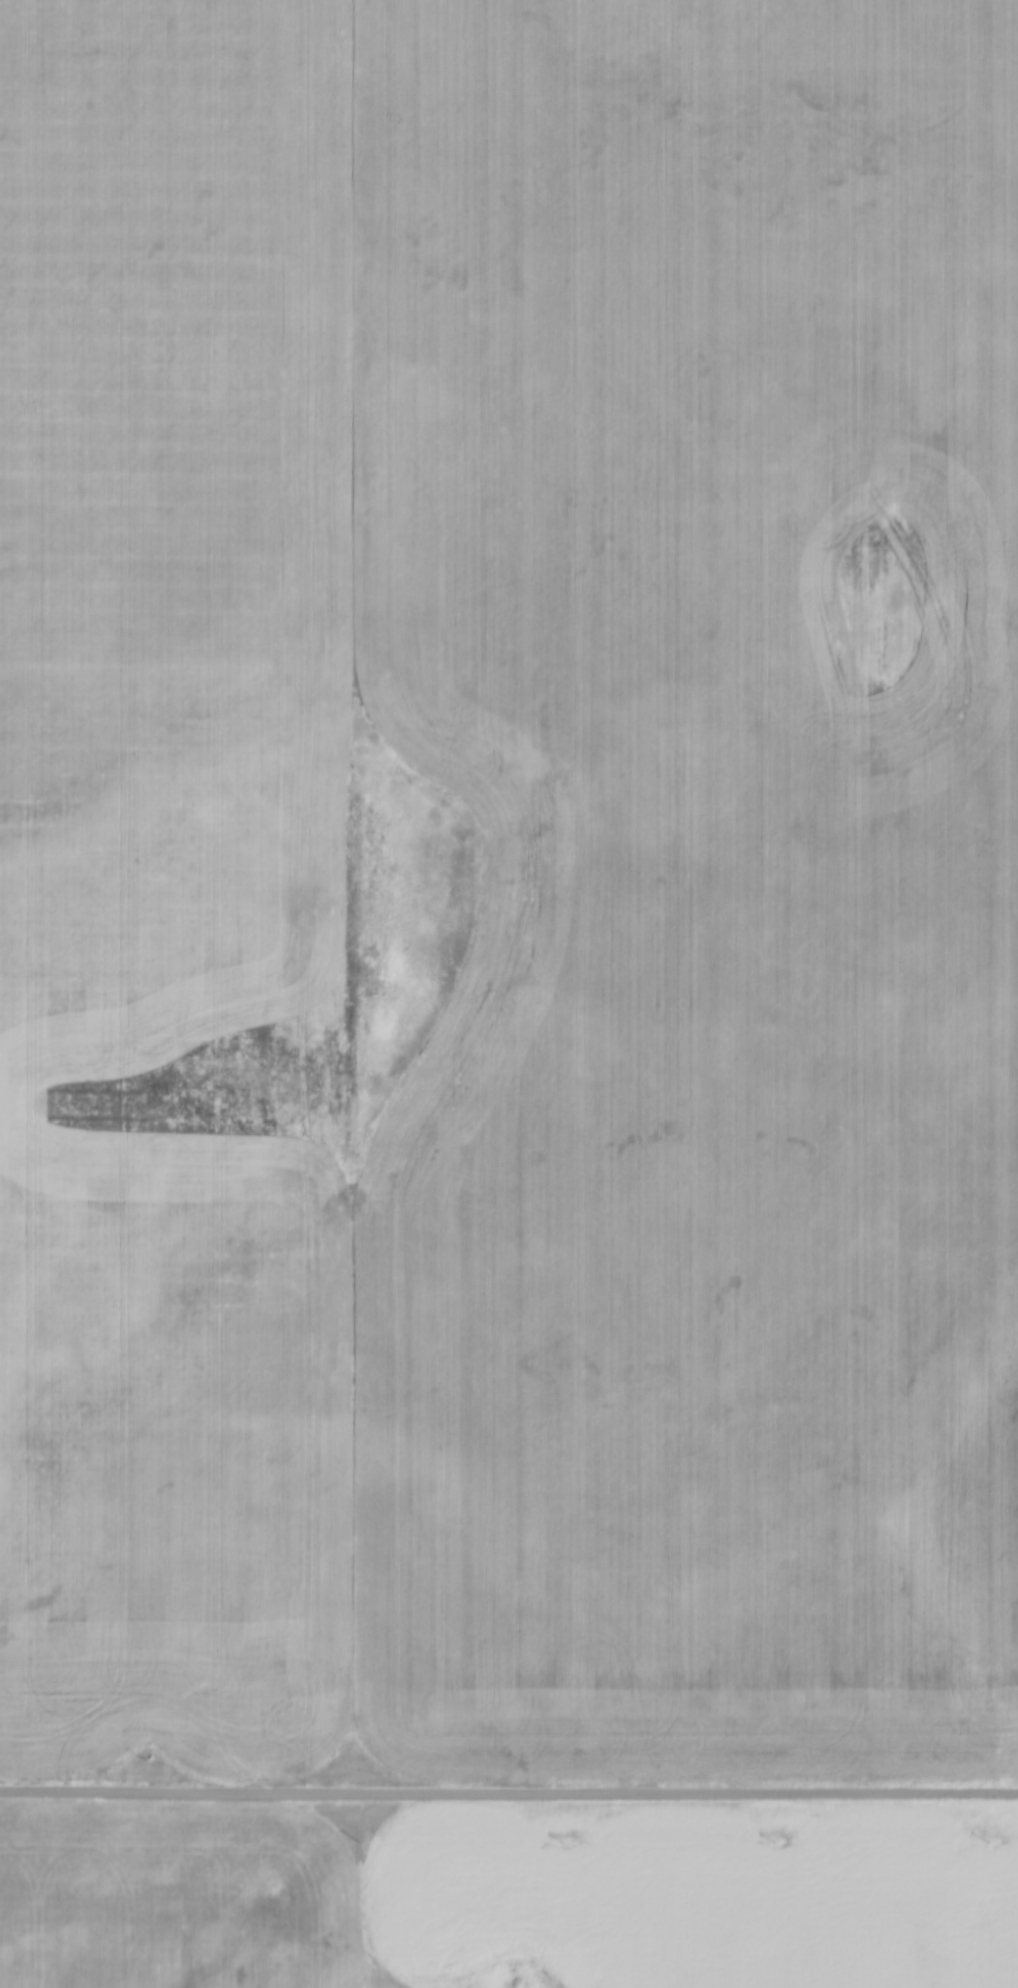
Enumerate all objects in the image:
road: (509, 1786)

